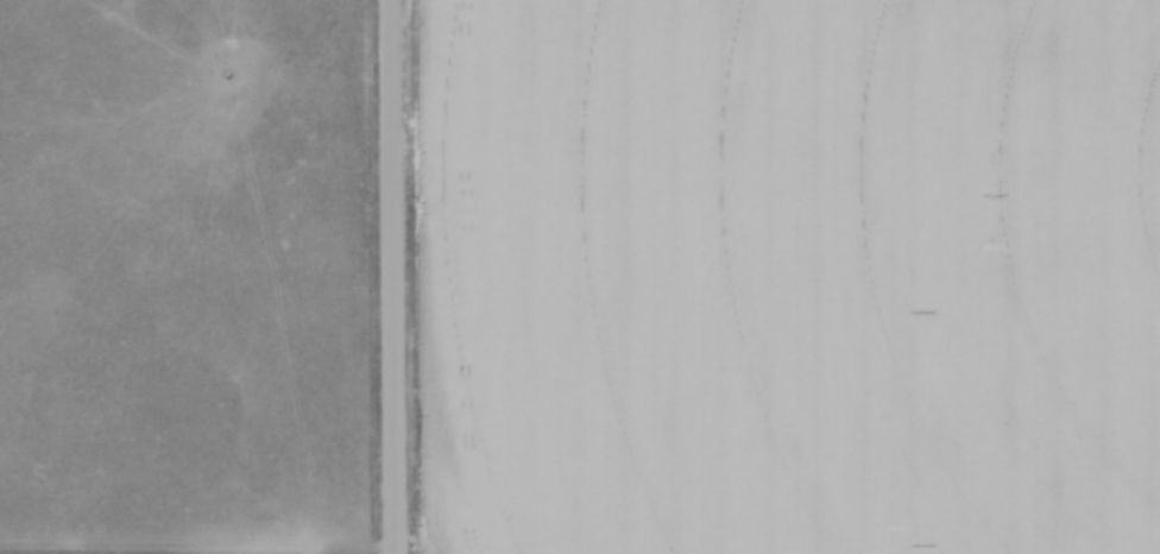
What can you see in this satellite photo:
road: (392, 277)

